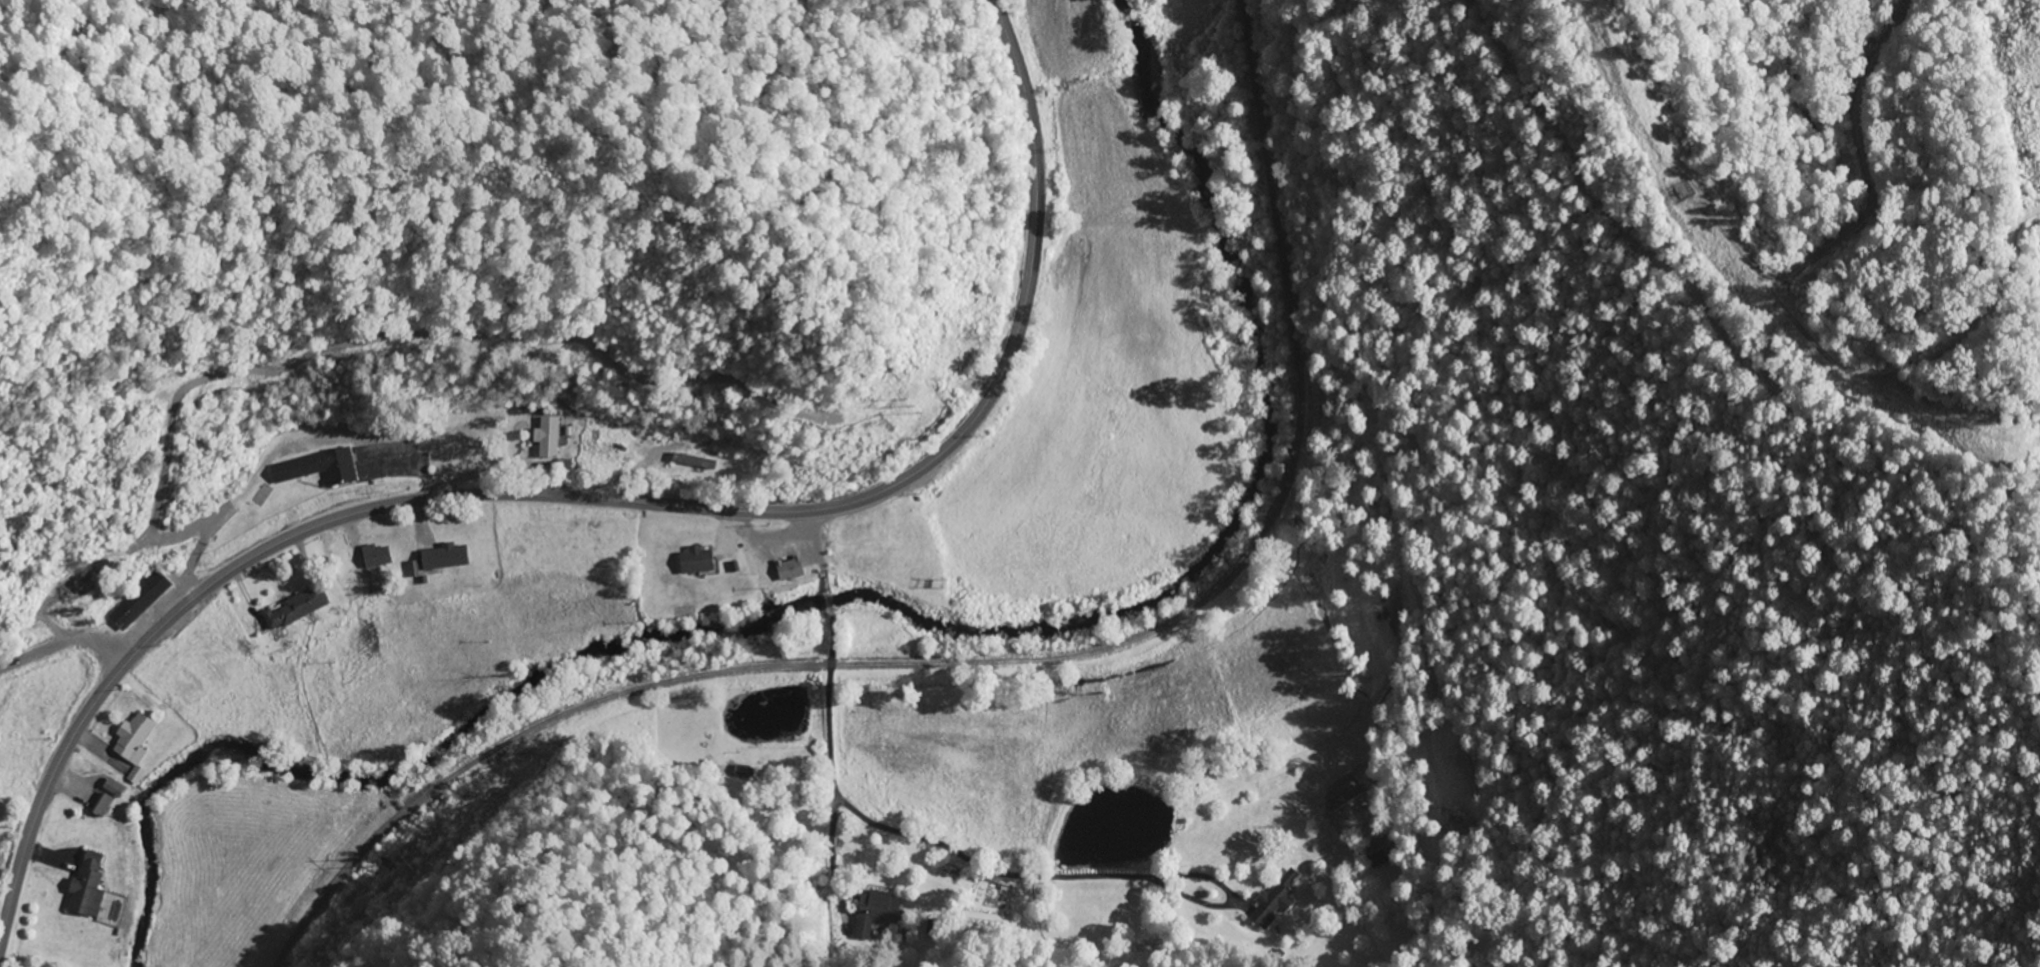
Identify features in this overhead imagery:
building: (1679, 192)
building: (544, 442)
building: (690, 462)
building: (311, 467)
road: (600, 500)
building: (372, 556)
building: (440, 557)
building: (693, 561)
building: (785, 570)
building: (68, 588)
building: (135, 600)
building: (291, 609)
railway: (1006, 632)
road: (62, 645)
road: (1007, 661)
road: (825, 737)
building: (129, 743)
building: (109, 789)
building: (98, 805)
building: (1378, 858)
building: (83, 887)
building: (1271, 905)
building: (879, 906)

